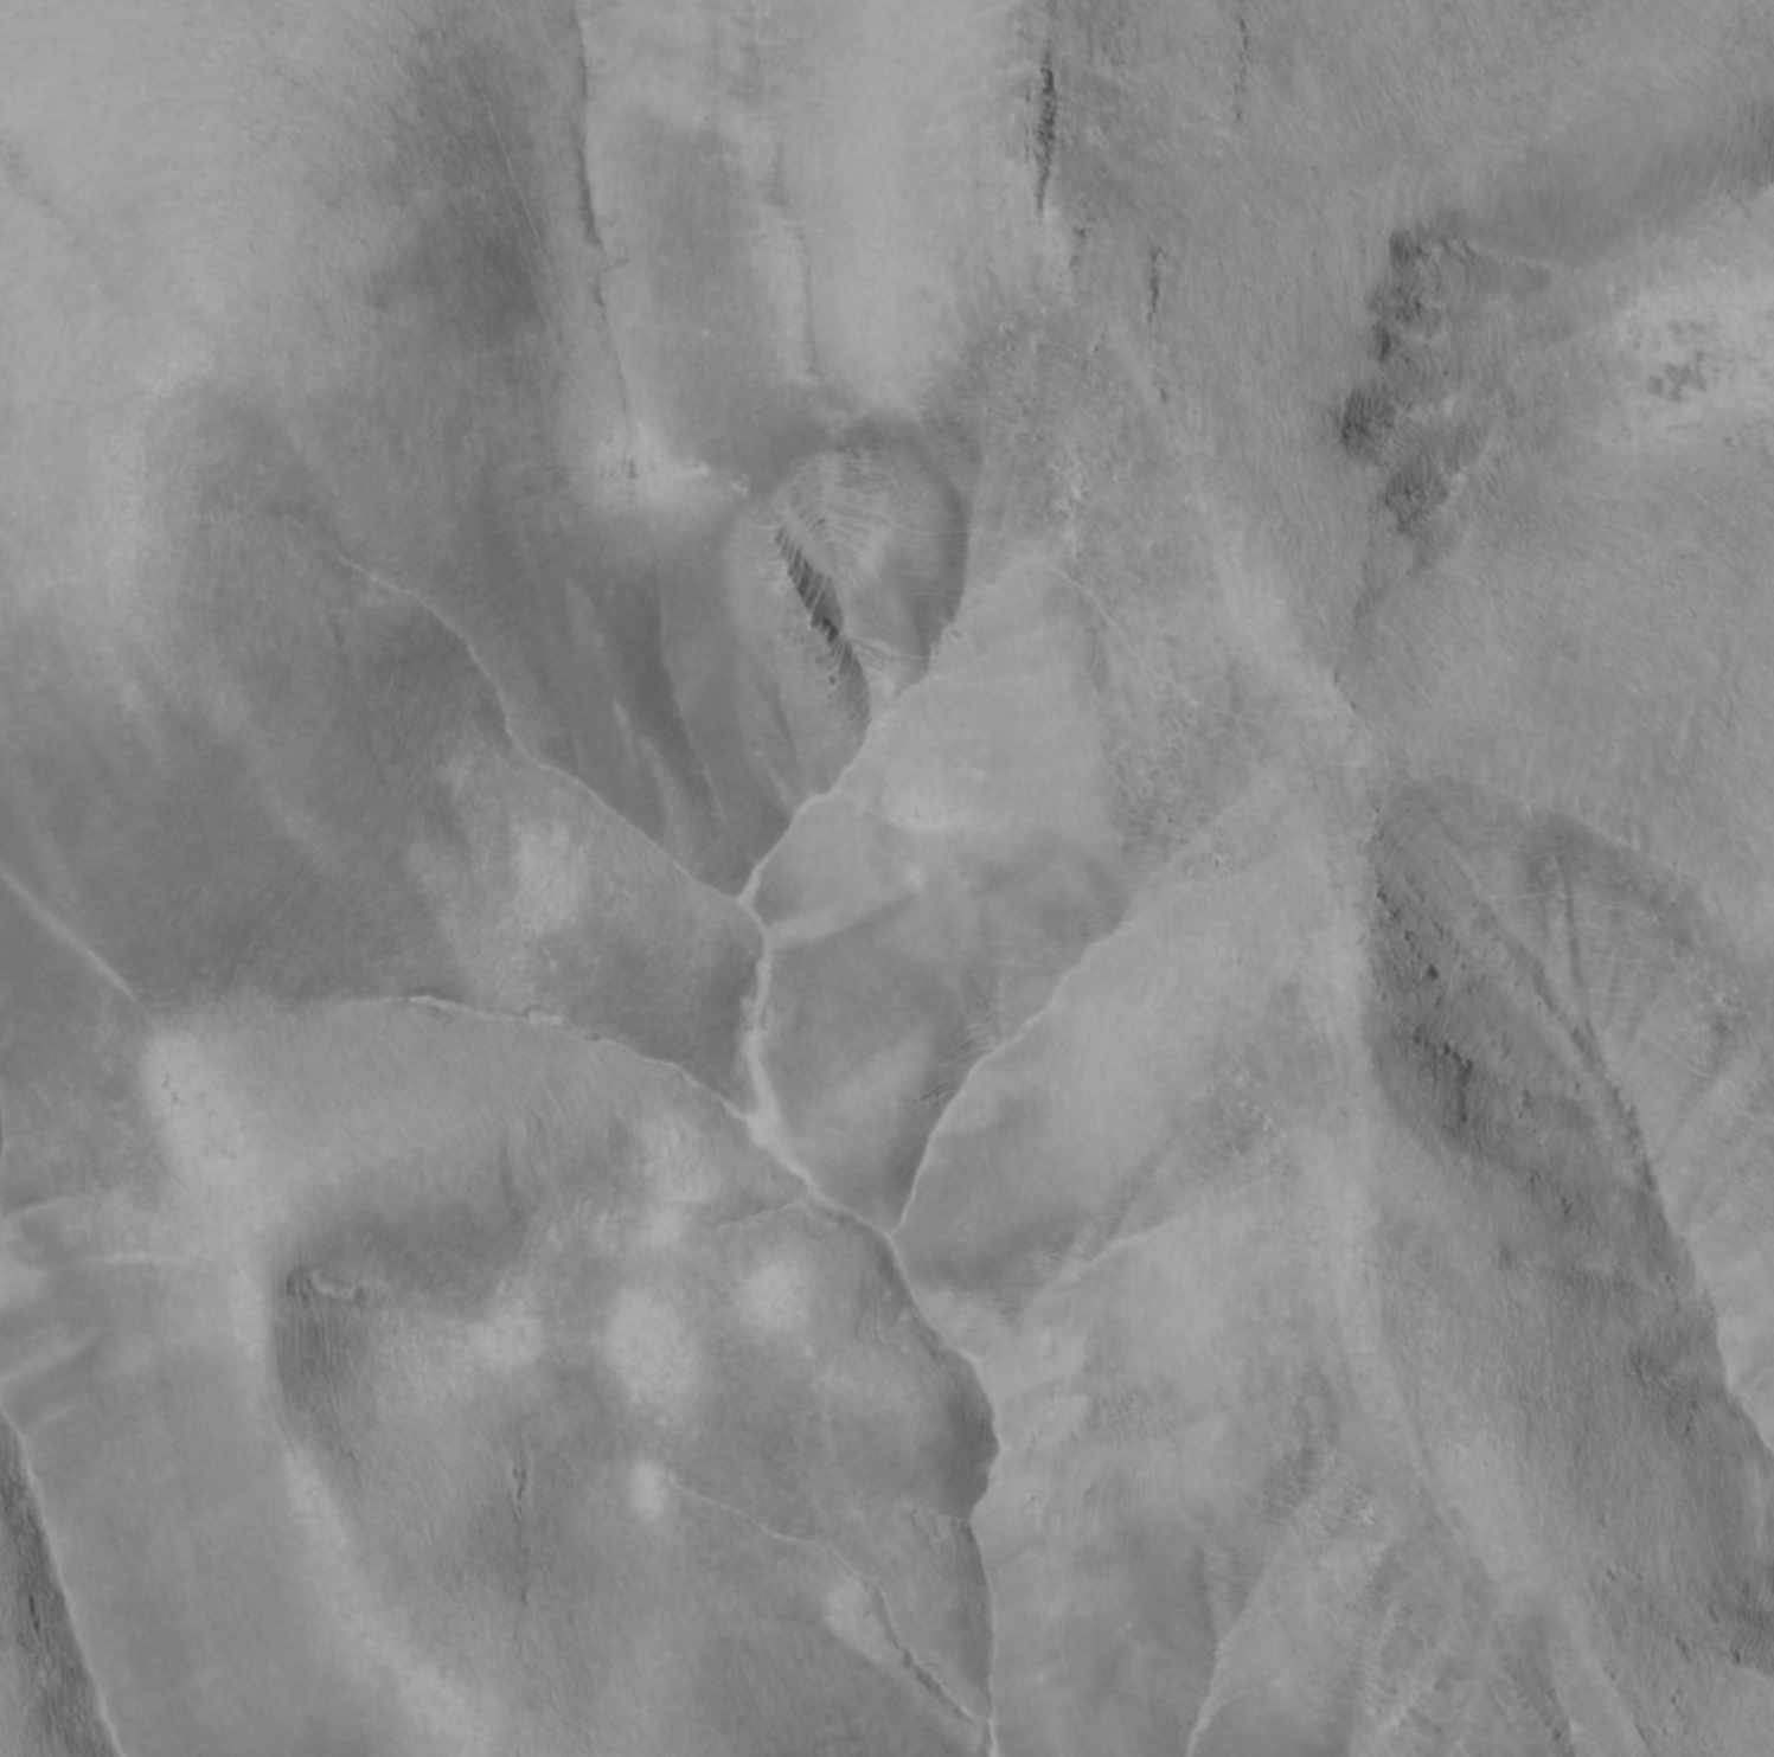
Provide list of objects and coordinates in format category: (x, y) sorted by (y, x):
road: (1570, 1656)

